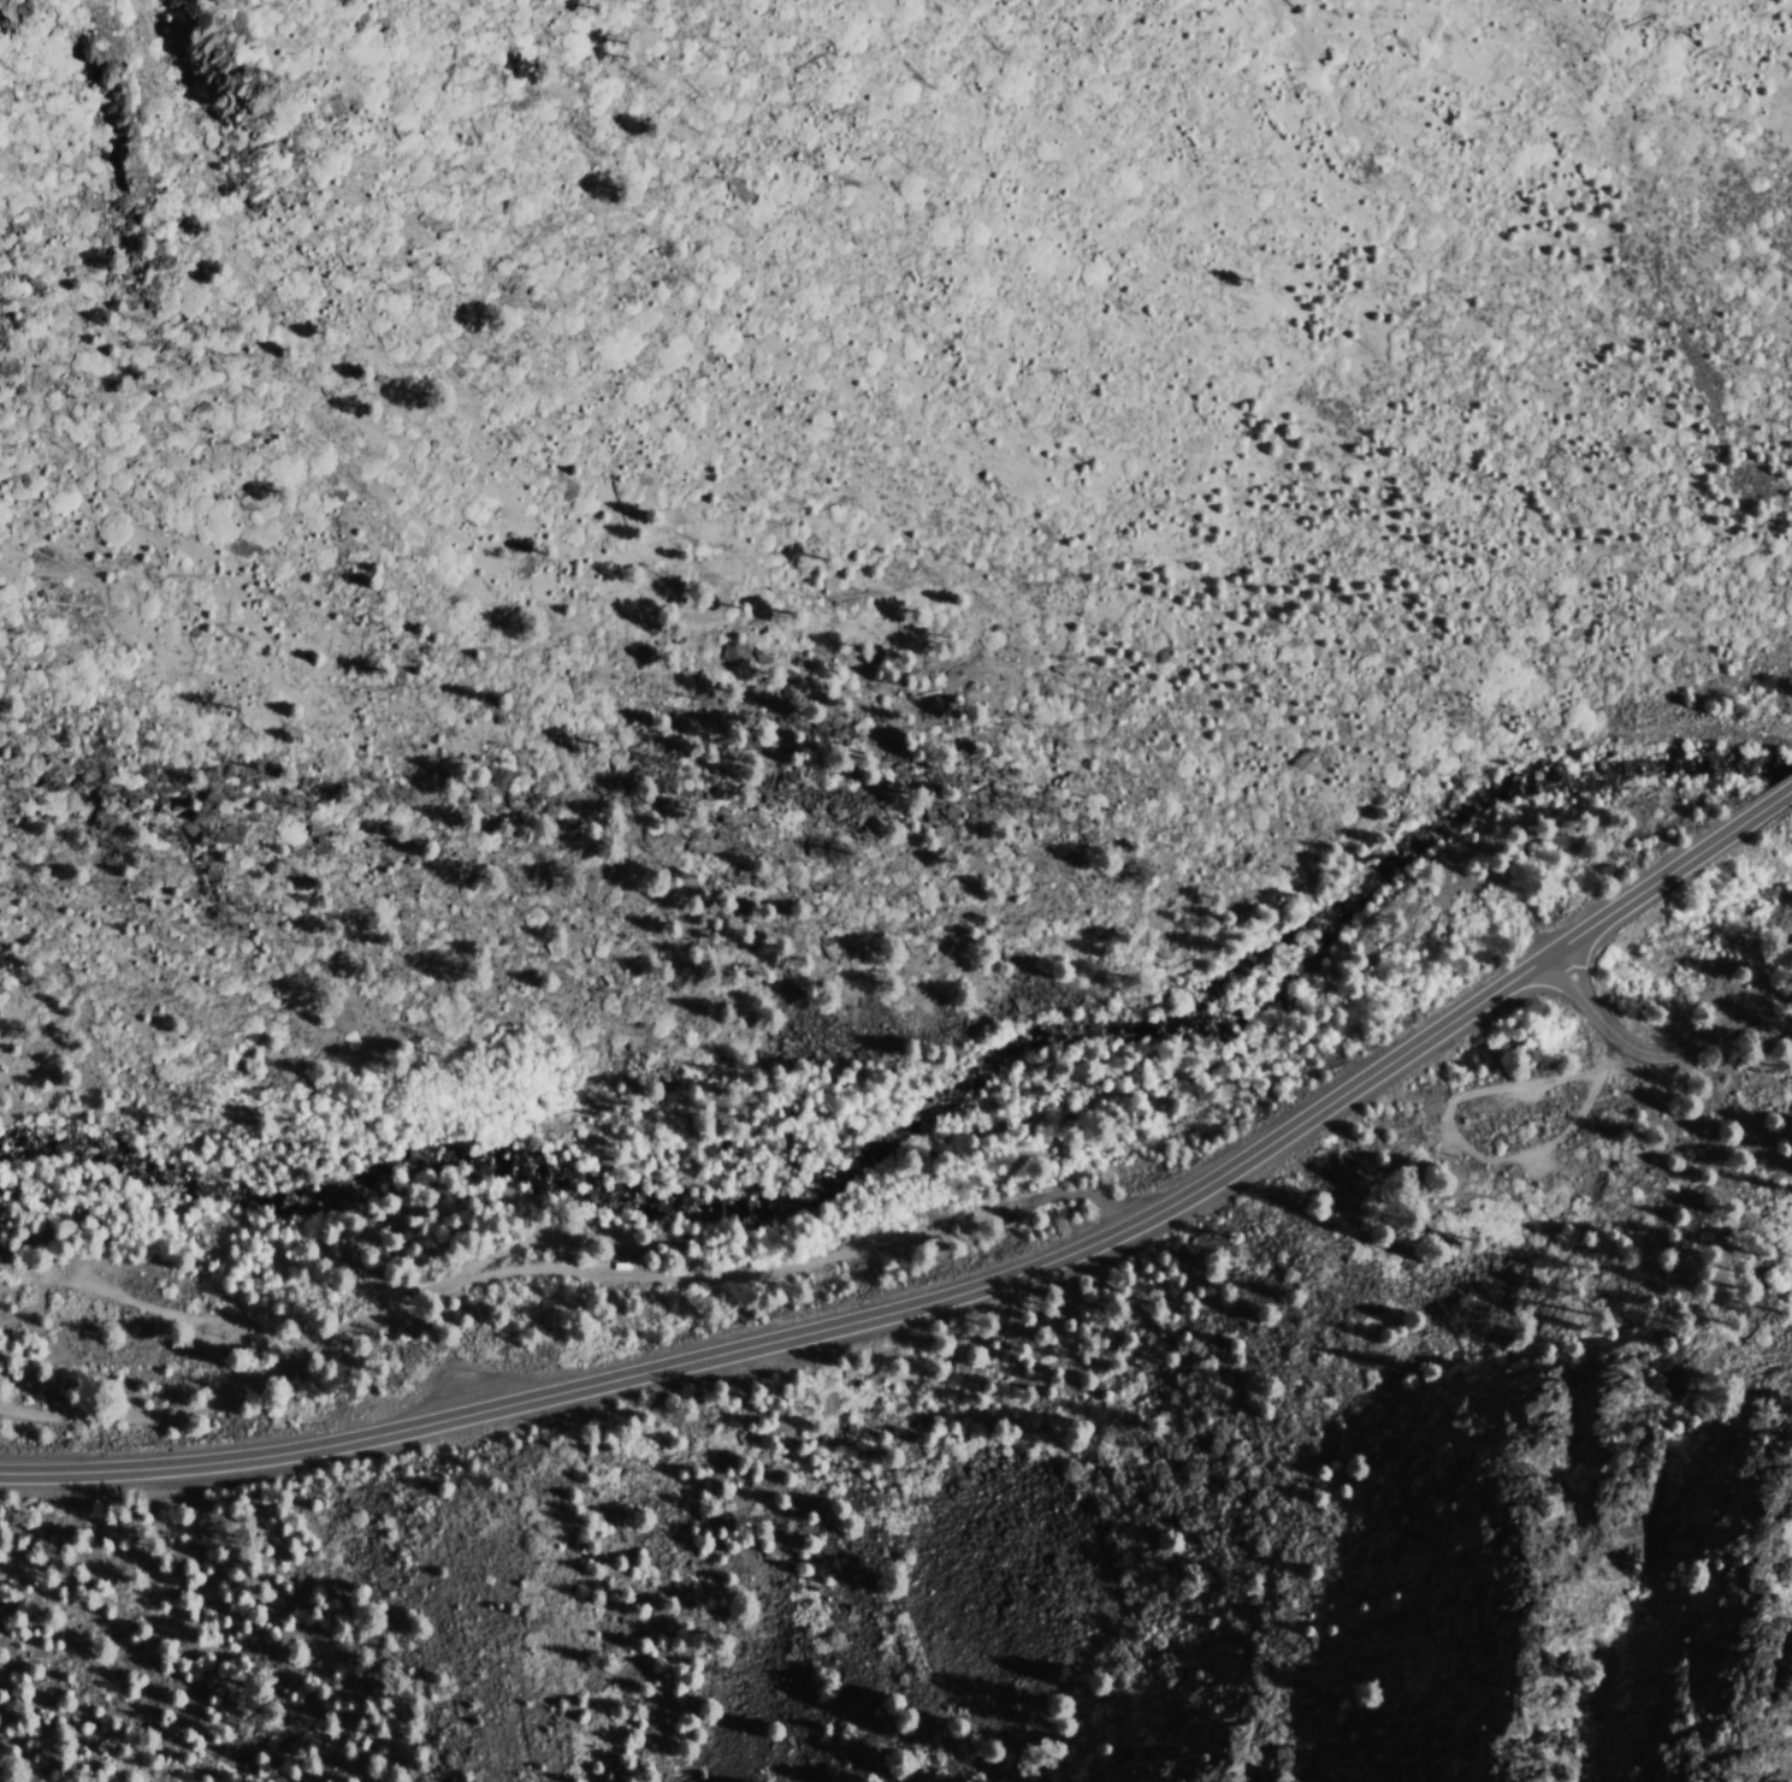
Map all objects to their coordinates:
road: (1787, 795)
road: (1655, 1050)
river: (927, 1112)
road: (1465, 1145)
road: (557, 1272)
road: (952, 1296)
road: (173, 1314)
parking lot: (478, 1372)

